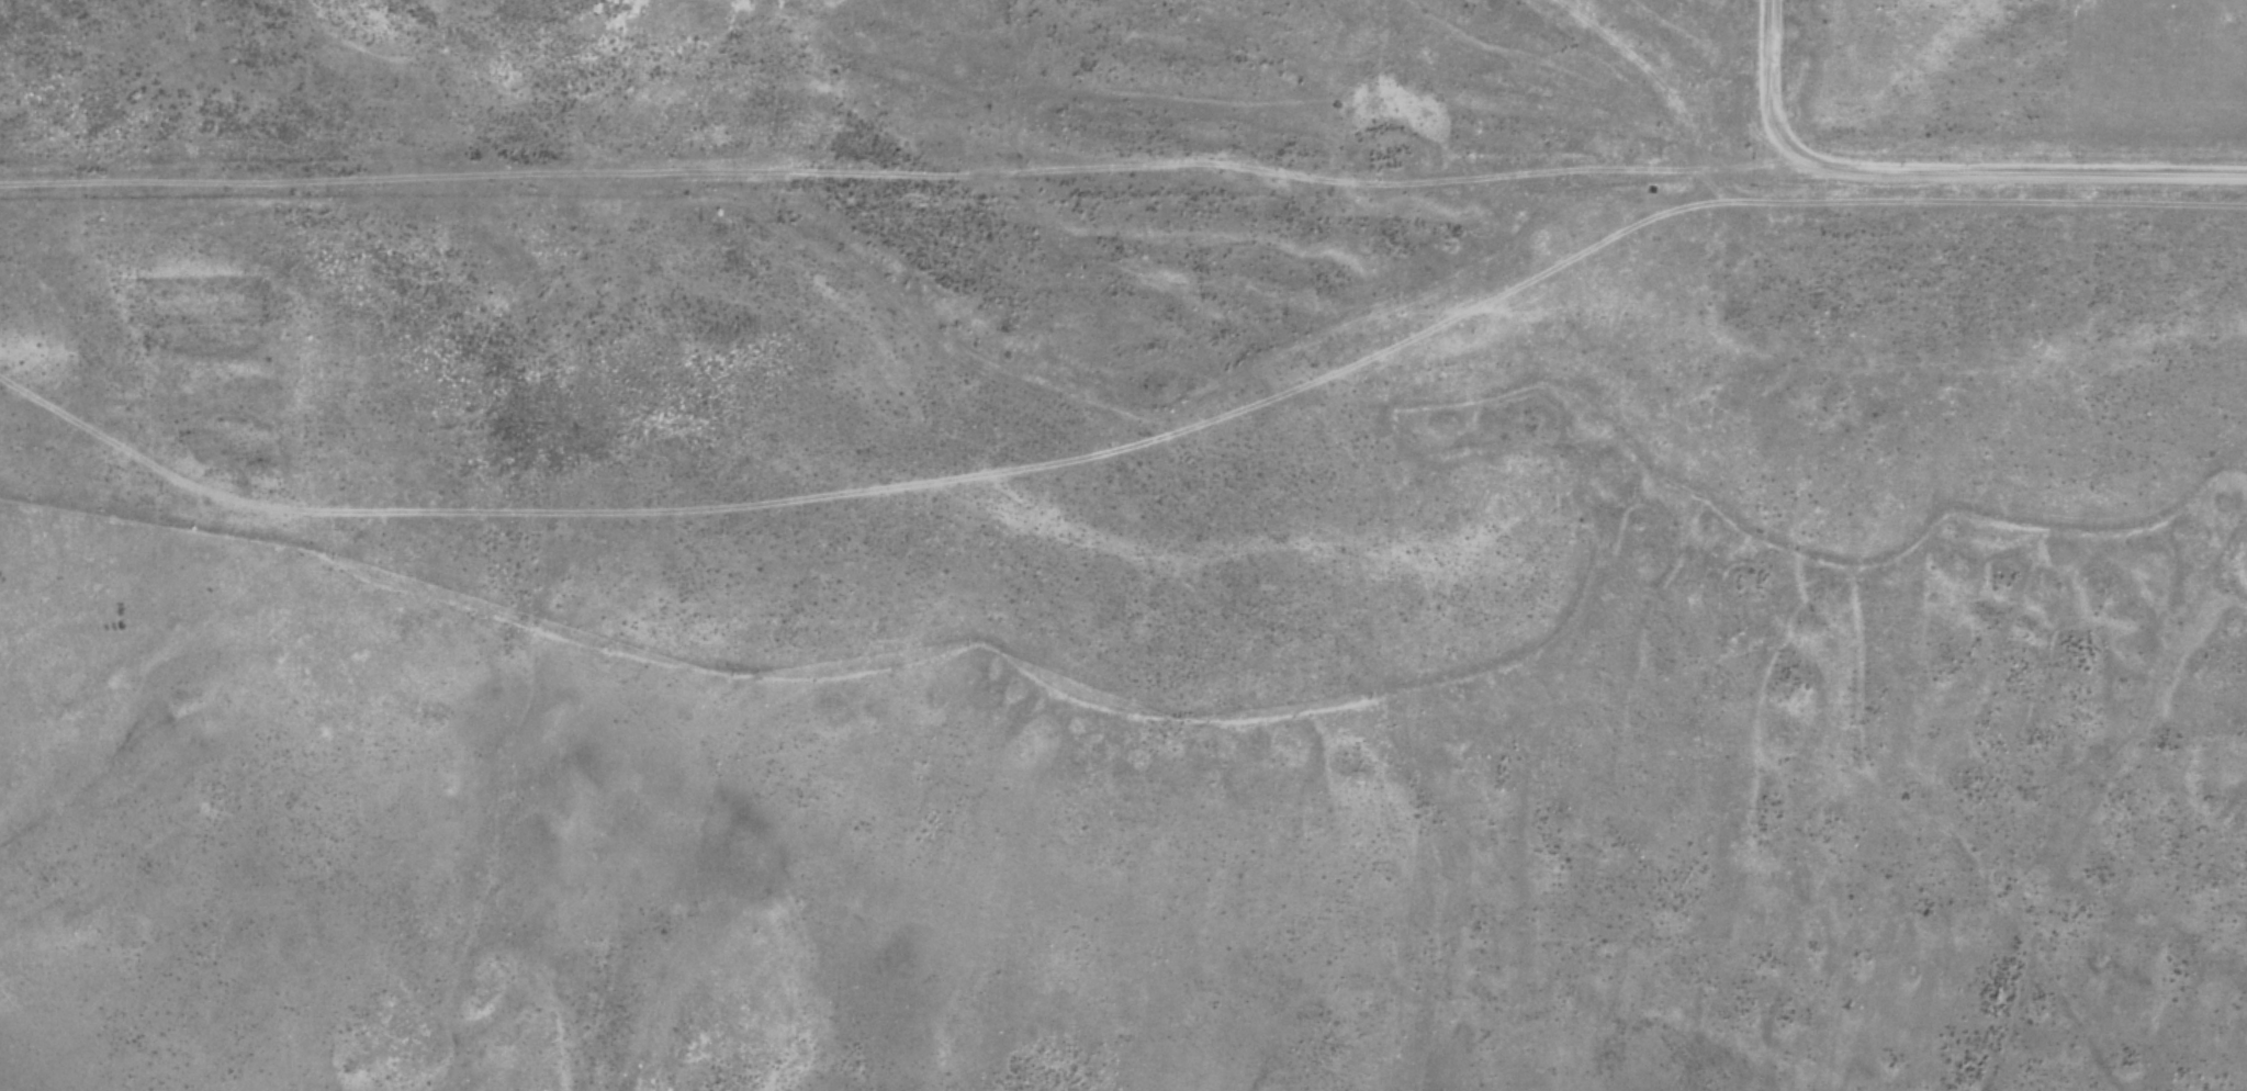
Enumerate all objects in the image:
road: (1941, 170)

